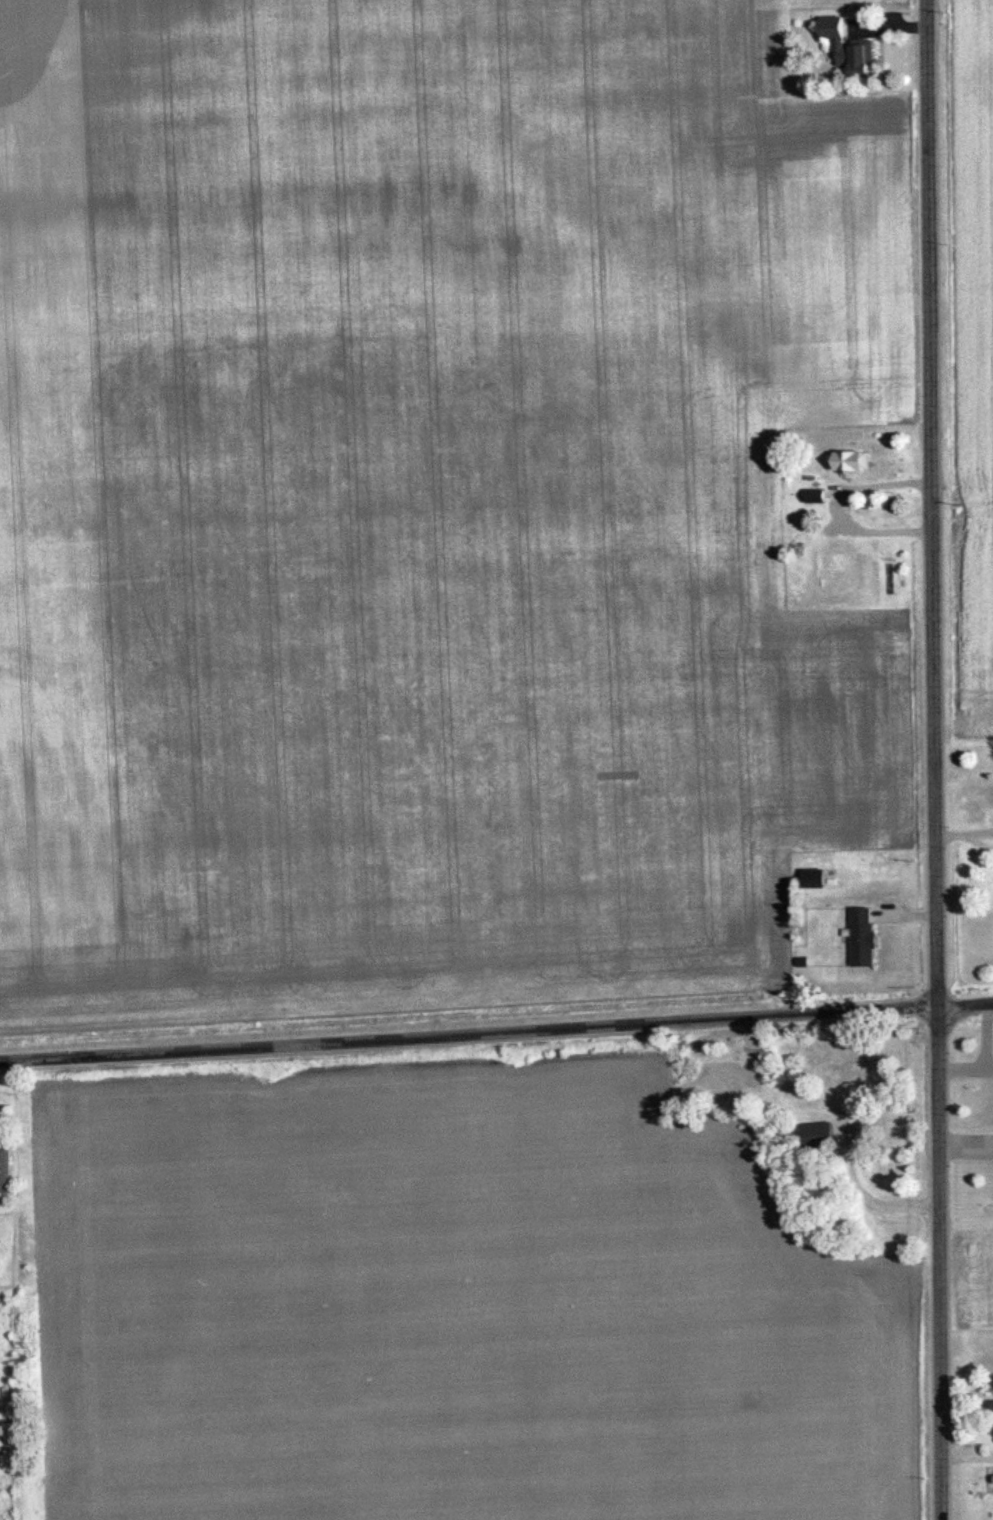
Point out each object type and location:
building: (837, 36)
building: (862, 58)
building: (854, 460)
building: (835, 572)
road: (934, 759)
building: (815, 877)
building: (864, 935)
road: (496, 1030)
building: (866, 1074)
building: (720, 1077)
building: (834, 1077)
building: (819, 1135)
building: (5, 1170)

